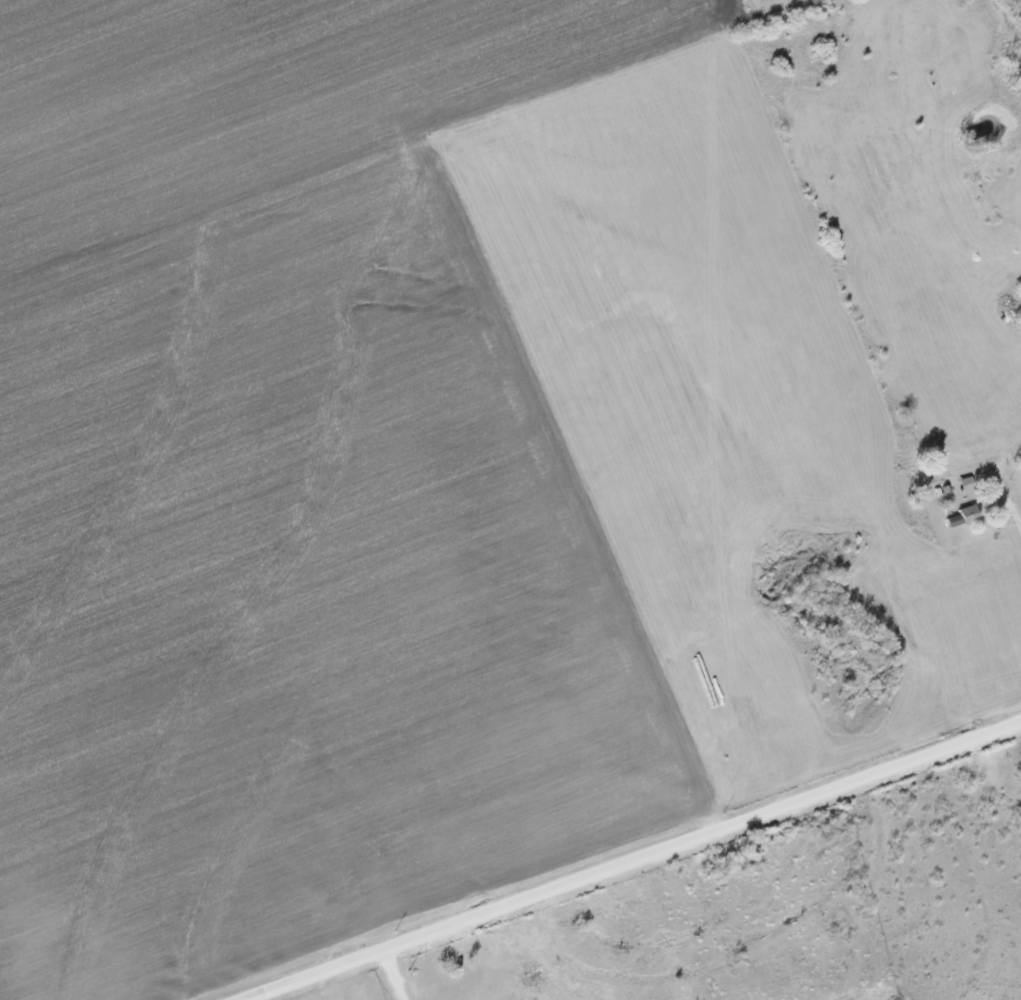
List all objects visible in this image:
building: (969, 513)
road: (1014, 514)
building: (954, 520)
road: (630, 859)
road: (391, 975)

